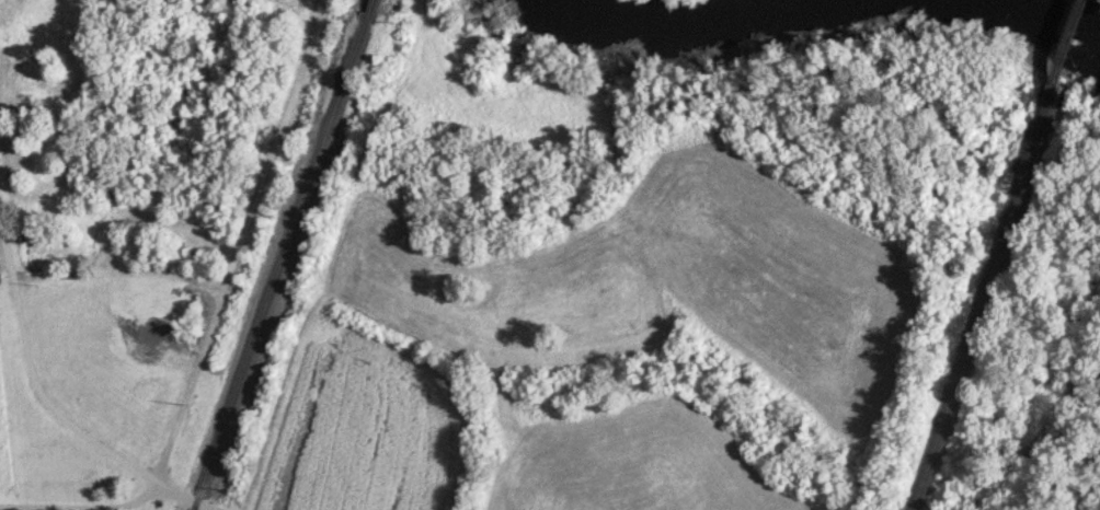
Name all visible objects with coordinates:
railway: (366, 5)
railway: (1062, 50)
railway: (278, 260)
railway: (978, 305)
road: (188, 389)
road: (51, 408)
road: (81, 507)

